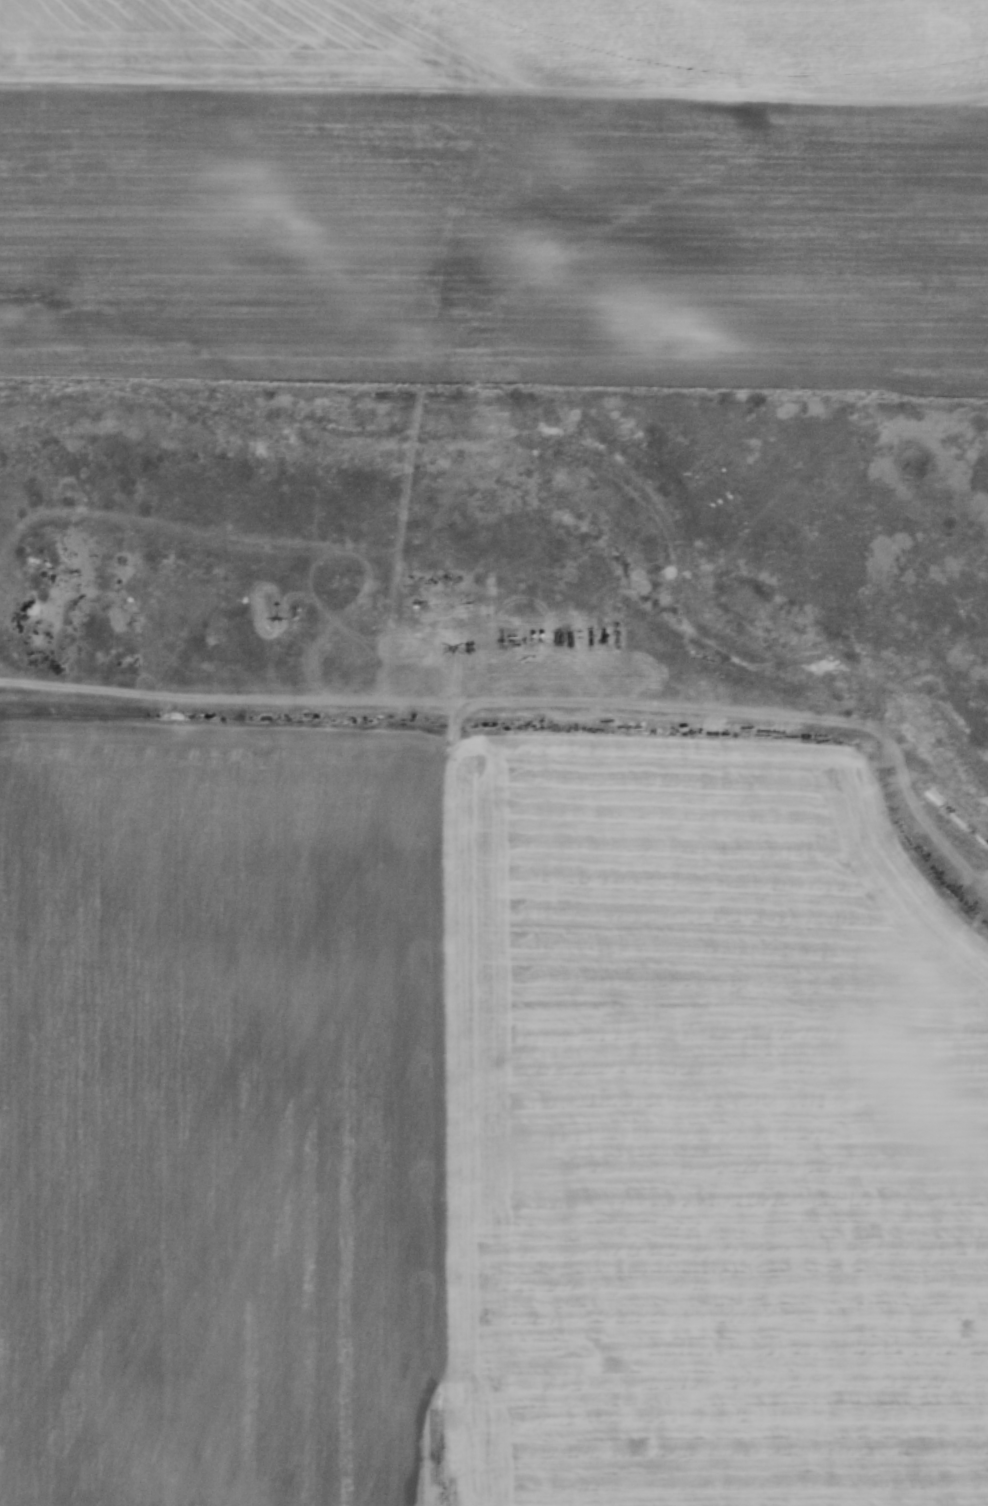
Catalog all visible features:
crop: (497, 191)
crop: (480, 1130)

